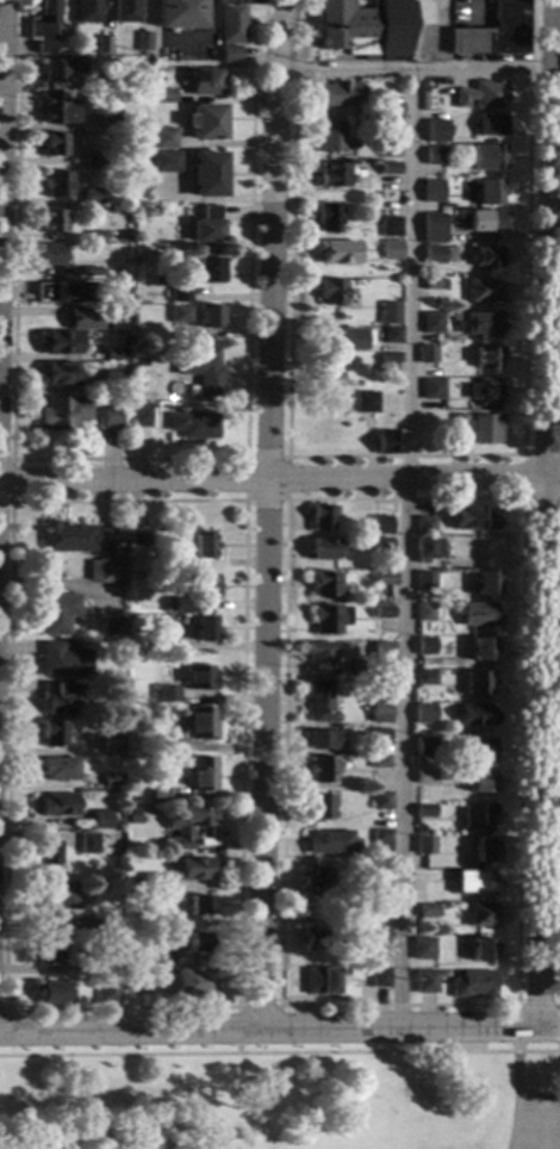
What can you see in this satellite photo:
building: (86, 11)
building: (125, 11)
building: (179, 13)
building: (232, 20)
building: (43, 24)
building: (363, 27)
building: (494, 31)
road: (204, 39)
building: (143, 41)
road: (307, 42)
building: (101, 44)
building: (229, 54)
building: (60, 68)
road: (412, 70)
building: (204, 81)
building: (102, 85)
building: (337, 93)
building: (163, 94)
building: (481, 94)
road: (1, 105)
building: (57, 108)
building: (391, 108)
building: (108, 118)
building: (205, 120)
building: (434, 120)
building: (490, 124)
building: (330, 136)
building: (163, 137)
building: (54, 144)
building: (387, 147)
building: (434, 155)
building: (486, 159)
building: (93, 160)
building: (164, 161)
building: (387, 167)
building: (206, 173)
building: (332, 174)
building: (57, 184)
building: (434, 186)
building: (489, 191)
building: (92, 195)
building: (325, 216)
building: (51, 221)
building: (485, 221)
building: (205, 224)
building: (388, 225)
building: (431, 226)
building: (95, 236)
building: (390, 250)
building: (336, 251)
building: (45, 254)
building: (433, 254)
building: (486, 256)
building: (204, 268)
building: (92, 271)
building: (433, 284)
building: (483, 290)
building: (178, 291)
building: (329, 291)
building: (63, 292)
building: (179, 313)
building: (207, 316)
building: (82, 318)
building: (387, 318)
building: (431, 322)
building: (481, 322)
building: (391, 334)
building: (346, 339)
building: (58, 341)
building: (113, 353)
building: (427, 353)
building: (487, 355)
building: (386, 362)
building: (199, 368)
building: (328, 369)
building: (58, 373)
building: (114, 380)
building: (433, 387)
building: (485, 391)
building: (366, 400)
building: (62, 412)
building: (139, 415)
building: (111, 416)
building: (194, 424)
building: (478, 427)
building: (388, 442)
road: (404, 455)
road: (130, 457)
road: (288, 457)
road: (524, 476)
road: (12, 478)
road: (279, 479)
road: (523, 497)
road: (13, 501)
road: (546, 513)
road: (266, 514)
building: (323, 517)
building: (474, 518)
building: (381, 524)
building: (425, 526)
building: (136, 535)
building: (76, 538)
building: (381, 541)
building: (203, 545)
building: (323, 548)
road: (405, 548)
building: (427, 548)
building: (107, 571)
building: (384, 577)
building: (424, 579)
building: (486, 583)
building: (323, 584)
building: (205, 586)
building: (180, 604)
building: (382, 611)
building: (423, 611)
building: (57, 613)
building: (479, 614)
building: (330, 619)
building: (113, 627)
building: (205, 628)
building: (167, 642)
building: (425, 646)
building: (480, 648)
building: (319, 652)
building: (381, 652)
building: (63, 658)
building: (199, 677)
building: (425, 677)
building: (477, 682)
building: (168, 691)
building: (57, 697)
building: (319, 701)
building: (424, 709)
building: (477, 714)
building: (380, 715)
building: (199, 721)
building: (52, 733)
building: (379, 735)
building: (324, 739)
building: (112, 741)
building: (164, 743)
building: (425, 746)
building: (480, 750)
building: (379, 760)
building: (60, 768)
building: (322, 769)
building: (201, 774)
building: (424, 776)
building: (112, 780)
building: (481, 781)
building: (160, 795)
building: (381, 800)
building: (57, 803)
building: (317, 806)
building: (424, 810)
building: (477, 816)
building: (100, 819)
building: (188, 825)
building: (380, 839)
building: (329, 840)
building: (88, 843)
building: (424, 845)
building: (484, 850)
building: (46, 851)
building: (194, 867)
building: (374, 874)
building: (150, 881)
building: (318, 881)
building: (473, 882)
building: (135, 884)
building: (57, 895)
building: (416, 895)
building: (199, 905)
building: (427, 909)
building: (481, 914)
building: (147, 920)
building: (88, 923)
building: (378, 937)
building: (313, 939)
building: (197, 943)
building: (422, 948)
building: (49, 949)
building: (481, 949)
building: (158, 954)
road: (559, 962)
building: (107, 968)
building: (378, 976)
building: (135, 979)
building: (319, 981)
building: (424, 981)
building: (193, 982)
building: (472, 983)
building: (52, 992)
building: (107, 993)
road: (549, 1004)
road: (259, 1005)
road: (537, 1026)
road: (4, 1027)
road: (257, 1029)
road: (516, 1038)
road: (279, 1052)
park: (281, 1095)
road: (515, 1100)
park: (540, 1120)

